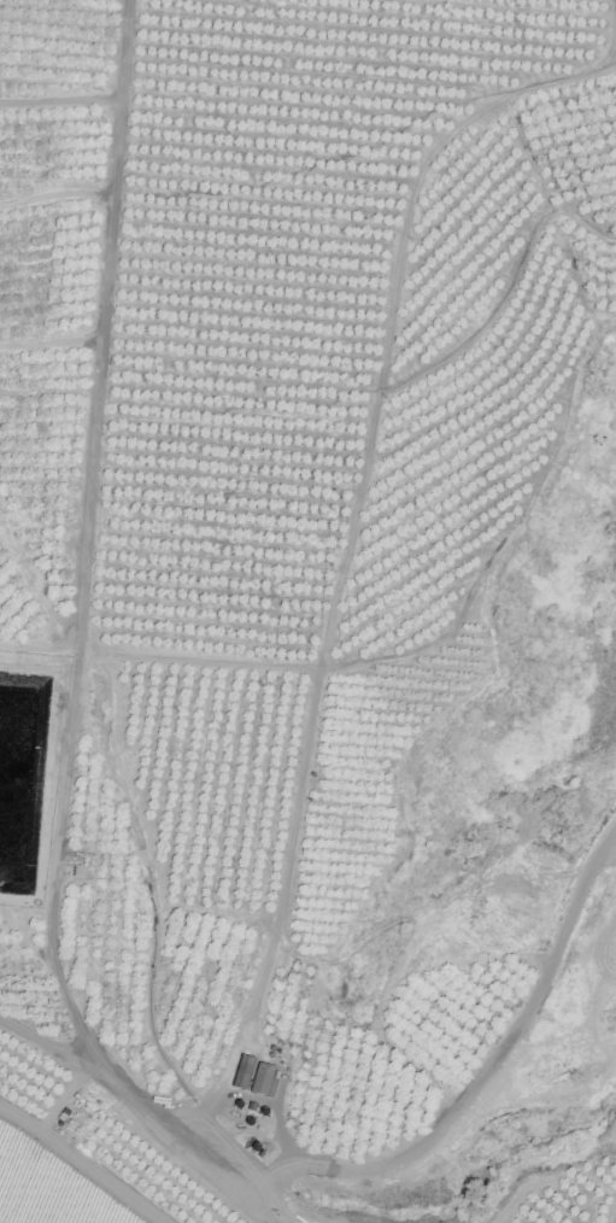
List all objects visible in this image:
road: (614, 33)
road: (60, 99)
road: (57, 193)
road: (508, 292)
road: (52, 341)
road: (346, 551)
road: (407, 655)
road: (77, 661)
road: (401, 791)
road: (146, 835)
road: (22, 935)
road: (52, 1047)
building: (242, 1072)
road: (482, 1072)
building: (262, 1079)
road: (61, 1098)
road: (83, 1163)
crop: (48, 1186)

